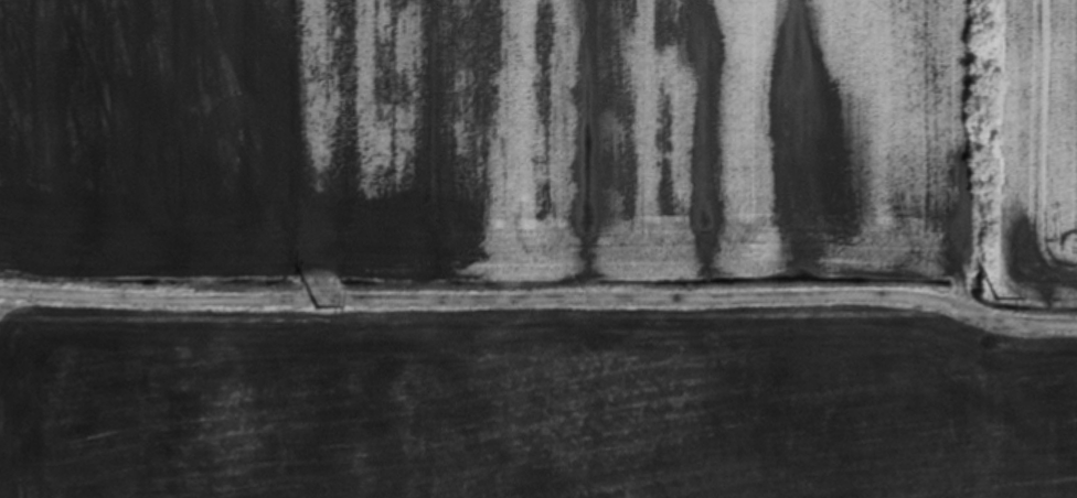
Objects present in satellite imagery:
power tower: (1002, 290)
power tower: (320, 300)

